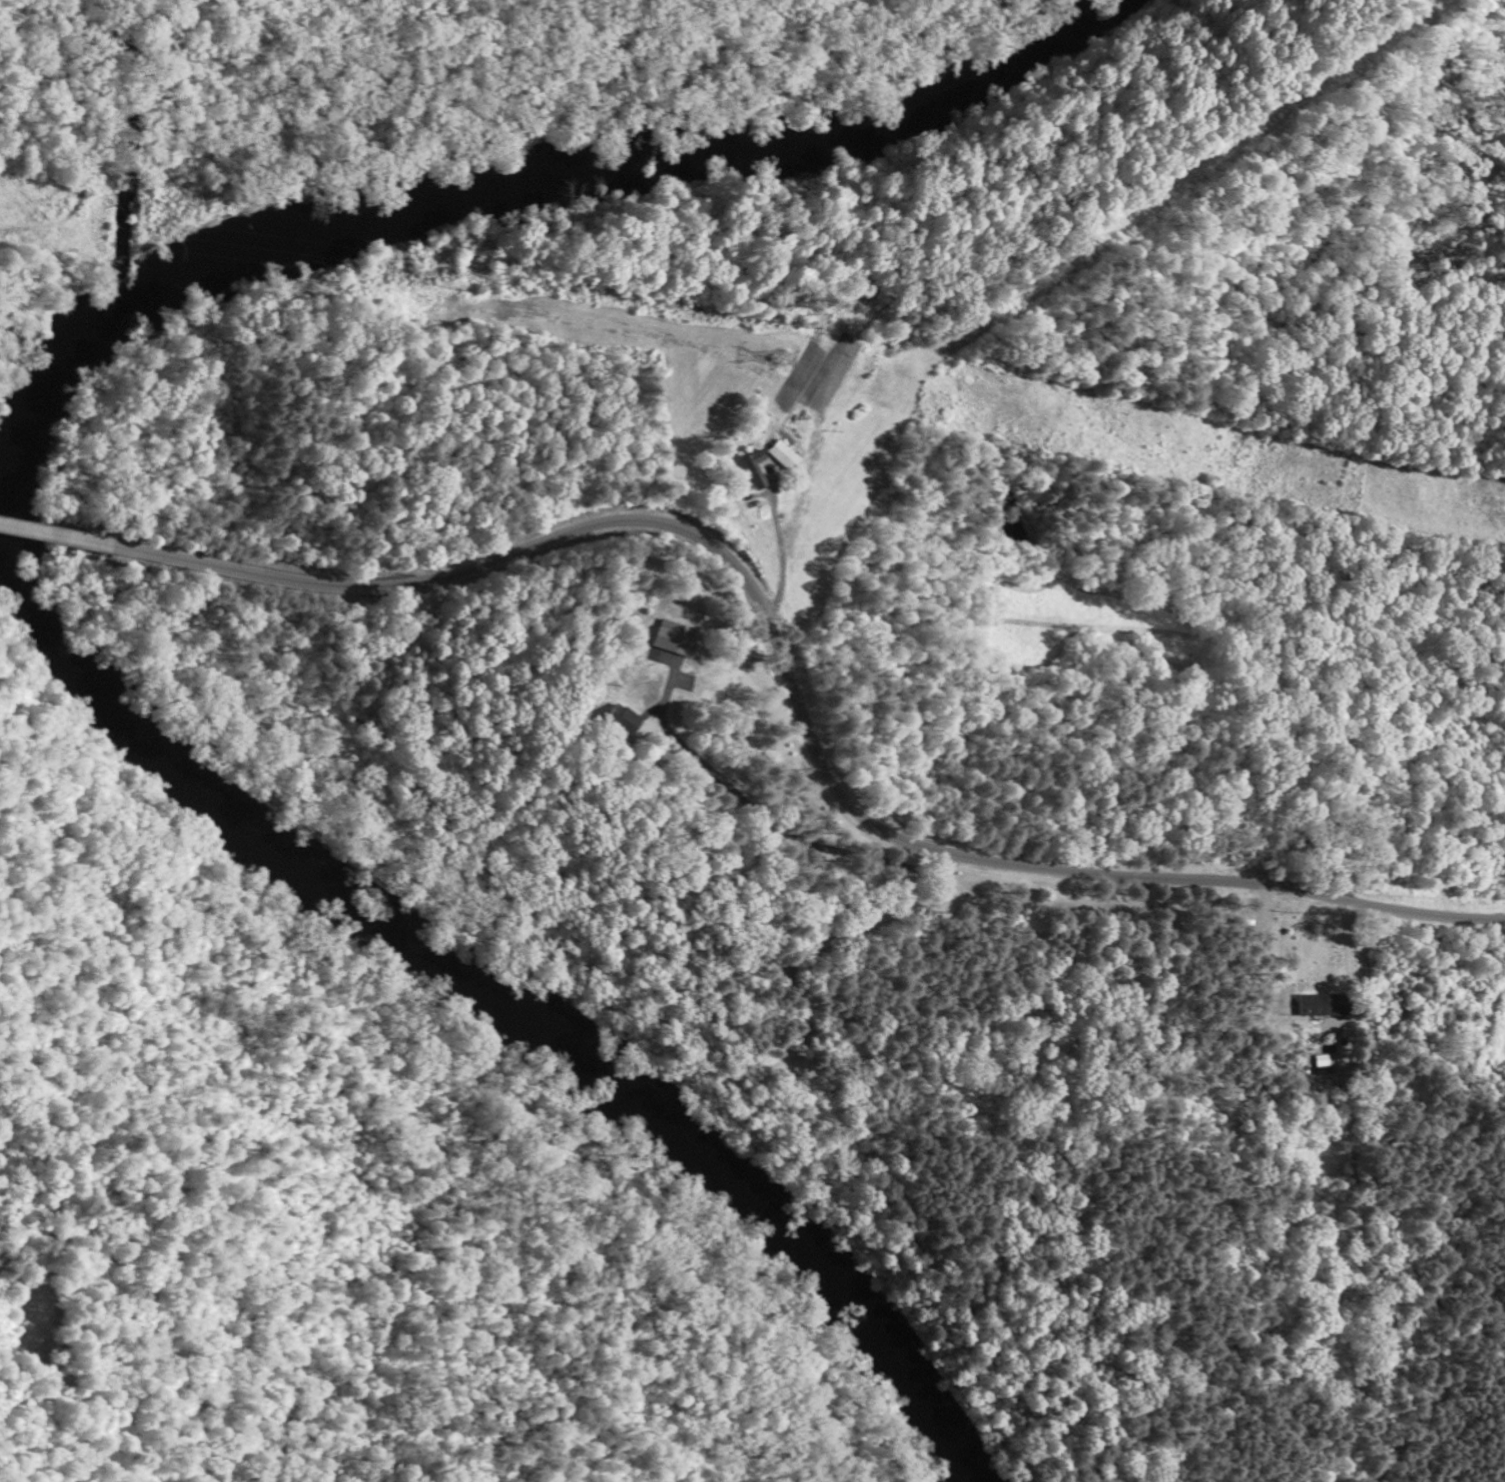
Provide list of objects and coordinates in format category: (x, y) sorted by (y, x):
building: (789, 454)
building: (761, 467)
river: (75, 581)
building: (675, 640)
road: (776, 643)
building: (629, 719)
building: (1326, 1003)

